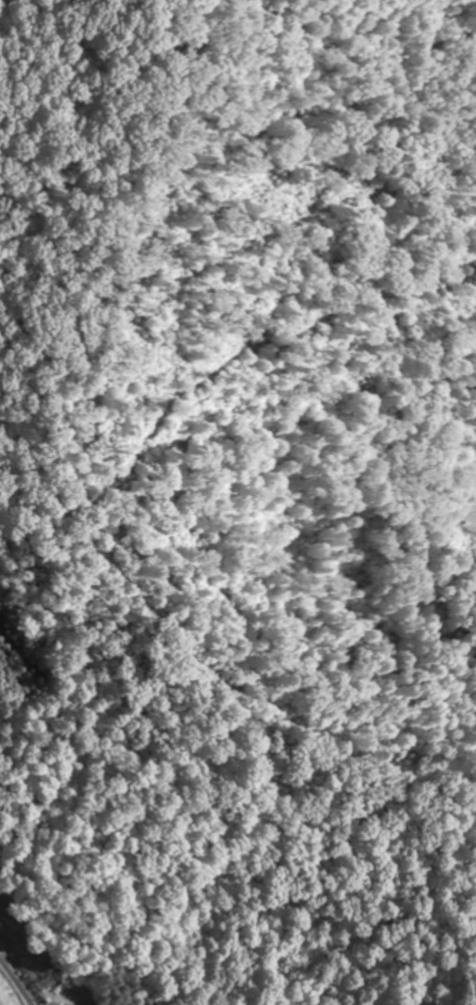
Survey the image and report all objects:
road: (18, 981)
road: (10, 988)

